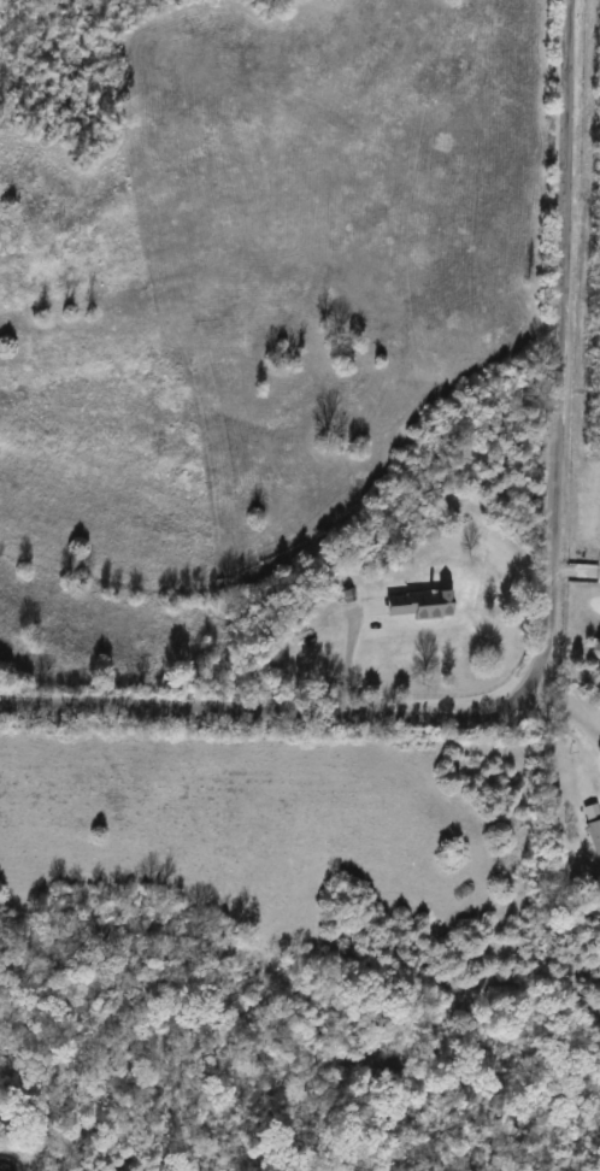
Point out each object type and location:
building: (412, 605)
road: (551, 616)
road: (351, 655)
road: (571, 722)
building: (593, 836)

